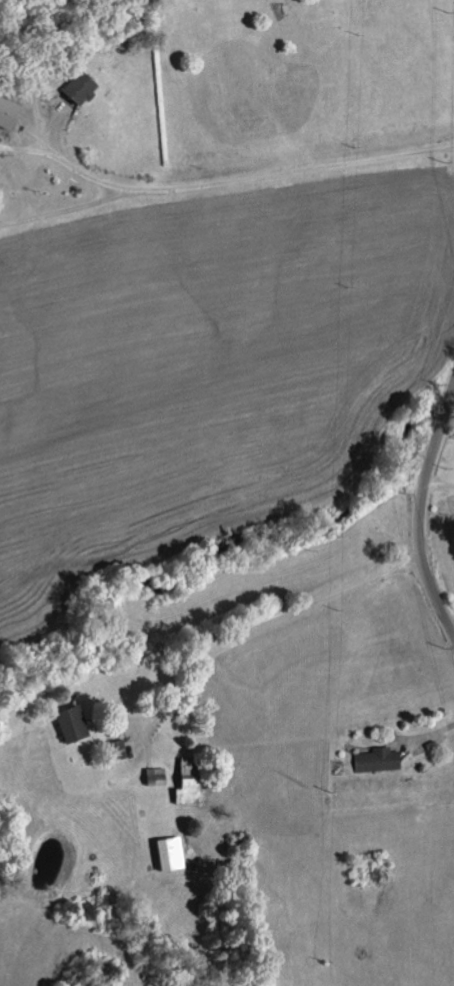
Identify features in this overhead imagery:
building: (159, 0)
building: (76, 89)
building: (6, 114)
road: (70, 165)
road: (296, 173)
road: (69, 211)
road: (440, 484)
road: (424, 515)
road: (256, 626)
building: (66, 723)
building: (117, 749)
building: (375, 760)
building: (155, 775)
building: (186, 782)
building: (166, 853)

